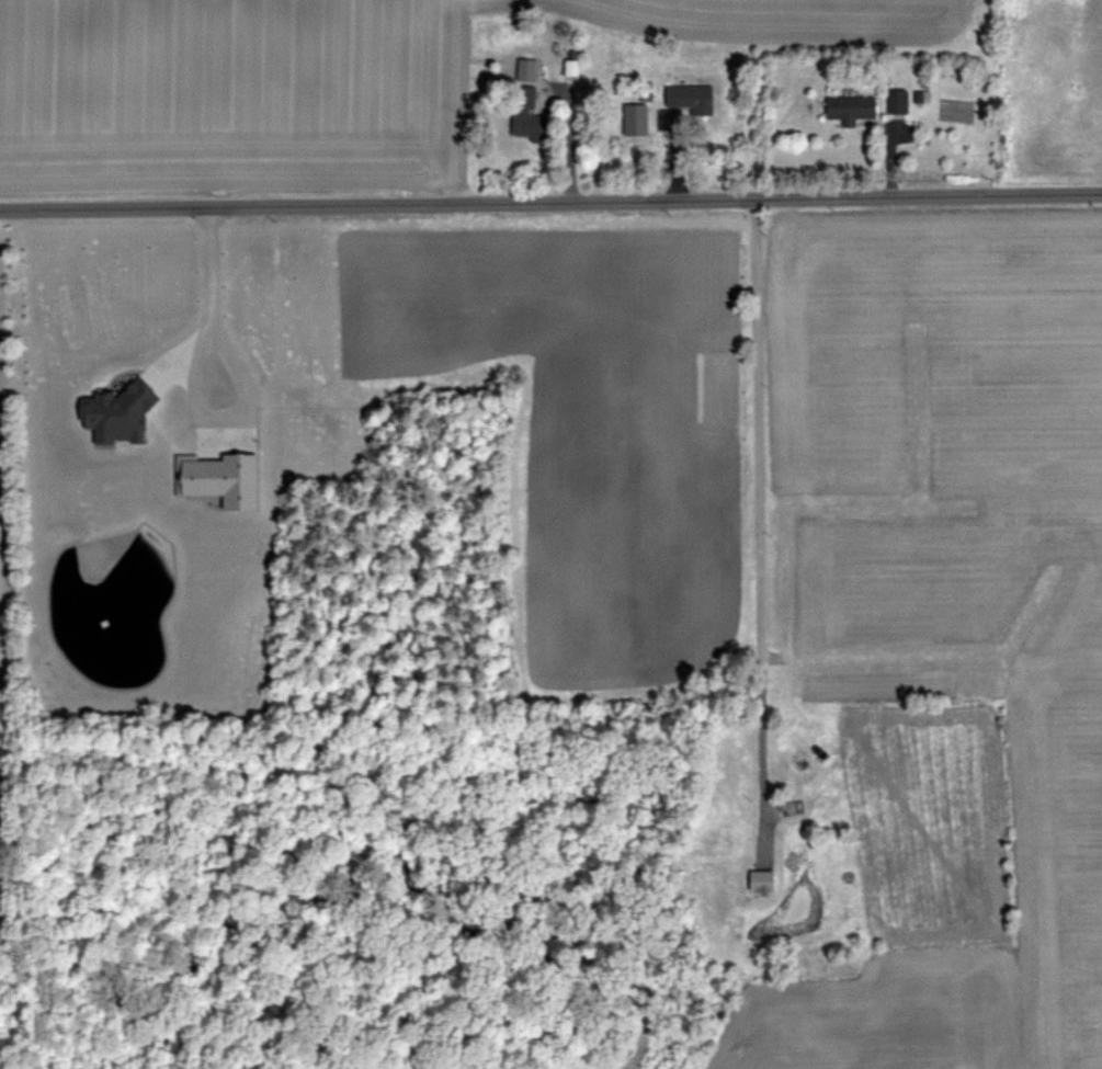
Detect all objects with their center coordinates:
building: (693, 99)
building: (899, 103)
building: (852, 110)
building: (529, 120)
road: (567, 135)
road: (666, 160)
road: (890, 163)
road: (550, 203)
road: (208, 319)
road: (756, 476)
building: (798, 764)
building: (763, 879)
building: (717, 884)

